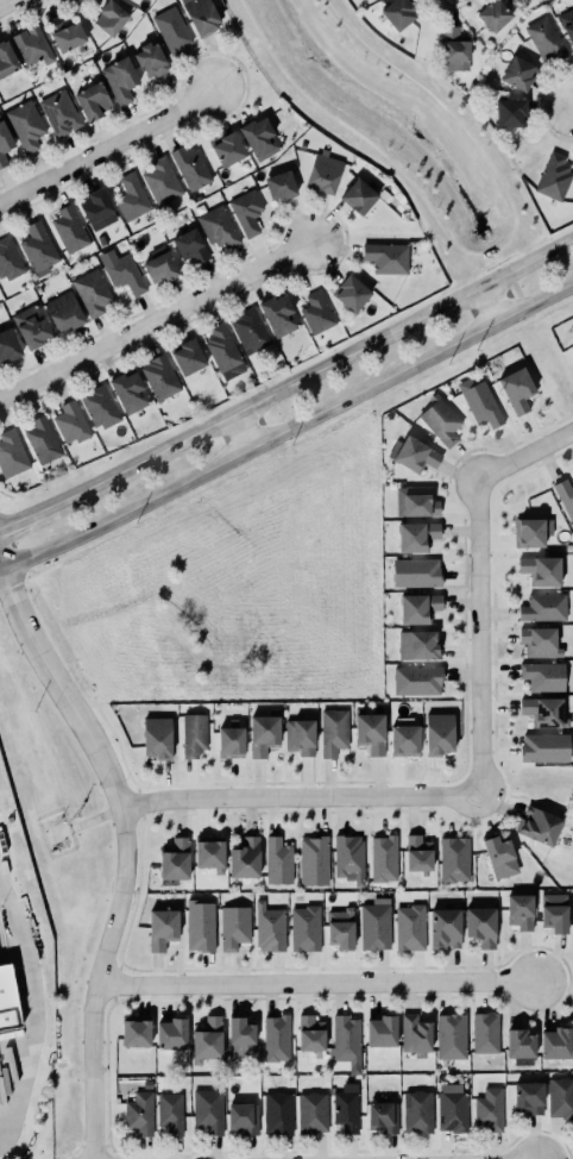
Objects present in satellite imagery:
road: (7, 4)
building: (399, 13)
building: (495, 14)
building: (201, 15)
road: (247, 15)
road: (335, 15)
building: (111, 17)
building: (567, 23)
building: (171, 30)
building: (65, 33)
building: (543, 37)
building: (32, 45)
building: (454, 45)
building: (7, 58)
building: (151, 58)
road: (401, 71)
building: (518, 73)
building: (120, 79)
building: (93, 100)
road: (316, 105)
road: (572, 107)
building: (58, 112)
building: (510, 112)
building: (25, 124)
park: (396, 127)
building: (259, 138)
building: (4, 142)
road: (107, 148)
building: (227, 148)
building: (190, 168)
building: (323, 171)
road: (492, 171)
building: (554, 176)
building: (162, 182)
building: (281, 184)
building: (359, 195)
building: (132, 196)
building: (97, 208)
building: (246, 211)
road: (429, 211)
building: (218, 226)
building: (69, 228)
building: (101, 239)
building: (190, 245)
building: (38, 246)
road: (491, 249)
building: (386, 257)
building: (10, 259)
building: (160, 264)
building: (121, 270)
building: (92, 290)
building: (352, 293)
road: (489, 303)
building: (64, 311)
building: (317, 312)
building: (278, 315)
road: (157, 320)
building: (31, 325)
building: (248, 330)
building: (8, 344)
building: (571, 345)
building: (222, 347)
building: (188, 356)
road: (314, 372)
building: (159, 377)
building: (517, 390)
building: (130, 391)
building: (478, 401)
building: (100, 406)
building: (440, 420)
building: (70, 422)
road: (288, 430)
road: (238, 434)
building: (43, 439)
building: (11, 453)
building: (415, 455)
building: (563, 495)
building: (416, 501)
road: (27, 515)
building: (531, 532)
building: (416, 537)
building: (414, 570)
building: (541, 570)
building: (543, 607)
building: (418, 608)
building: (540, 643)
building: (415, 644)
building: (543, 676)
building: (415, 679)
building: (542, 712)
building: (332, 731)
building: (367, 732)
building: (437, 733)
building: (263, 734)
building: (194, 737)
building: (300, 737)
building: (404, 737)
building: (157, 738)
building: (228, 741)
building: (544, 747)
road: (483, 769)
road: (571, 776)
road: (571, 777)
road: (537, 779)
road: (87, 822)
building: (536, 825)
building: (416, 852)
road: (122, 853)
building: (209, 854)
building: (453, 856)
building: (347, 857)
building: (499, 857)
building: (243, 858)
building: (383, 858)
building: (175, 859)
building: (311, 859)
building: (276, 860)
building: (517, 908)
building: (552, 910)
building: (231, 925)
building: (374, 925)
building: (200, 926)
building: (480, 926)
building: (408, 927)
building: (162, 928)
building: (269, 928)
building: (304, 928)
building: (339, 928)
building: (442, 928)
road: (315, 986)
building: (6, 1001)
road: (32, 1013)
building: (133, 1030)
building: (448, 1030)
building: (379, 1032)
building: (170, 1033)
building: (310, 1033)
building: (485, 1033)
building: (273, 1034)
building: (415, 1035)
building: (240, 1038)
building: (204, 1040)
building: (344, 1040)
building: (555, 1042)
building: (520, 1046)
building: (527, 1097)
building: (560, 1097)
building: (346, 1108)
building: (415, 1108)
building: (452, 1108)
building: (489, 1109)
building: (206, 1110)
building: (137, 1113)
building: (170, 1113)
building: (277, 1113)
building: (311, 1113)
building: (382, 1117)
building: (243, 1119)

